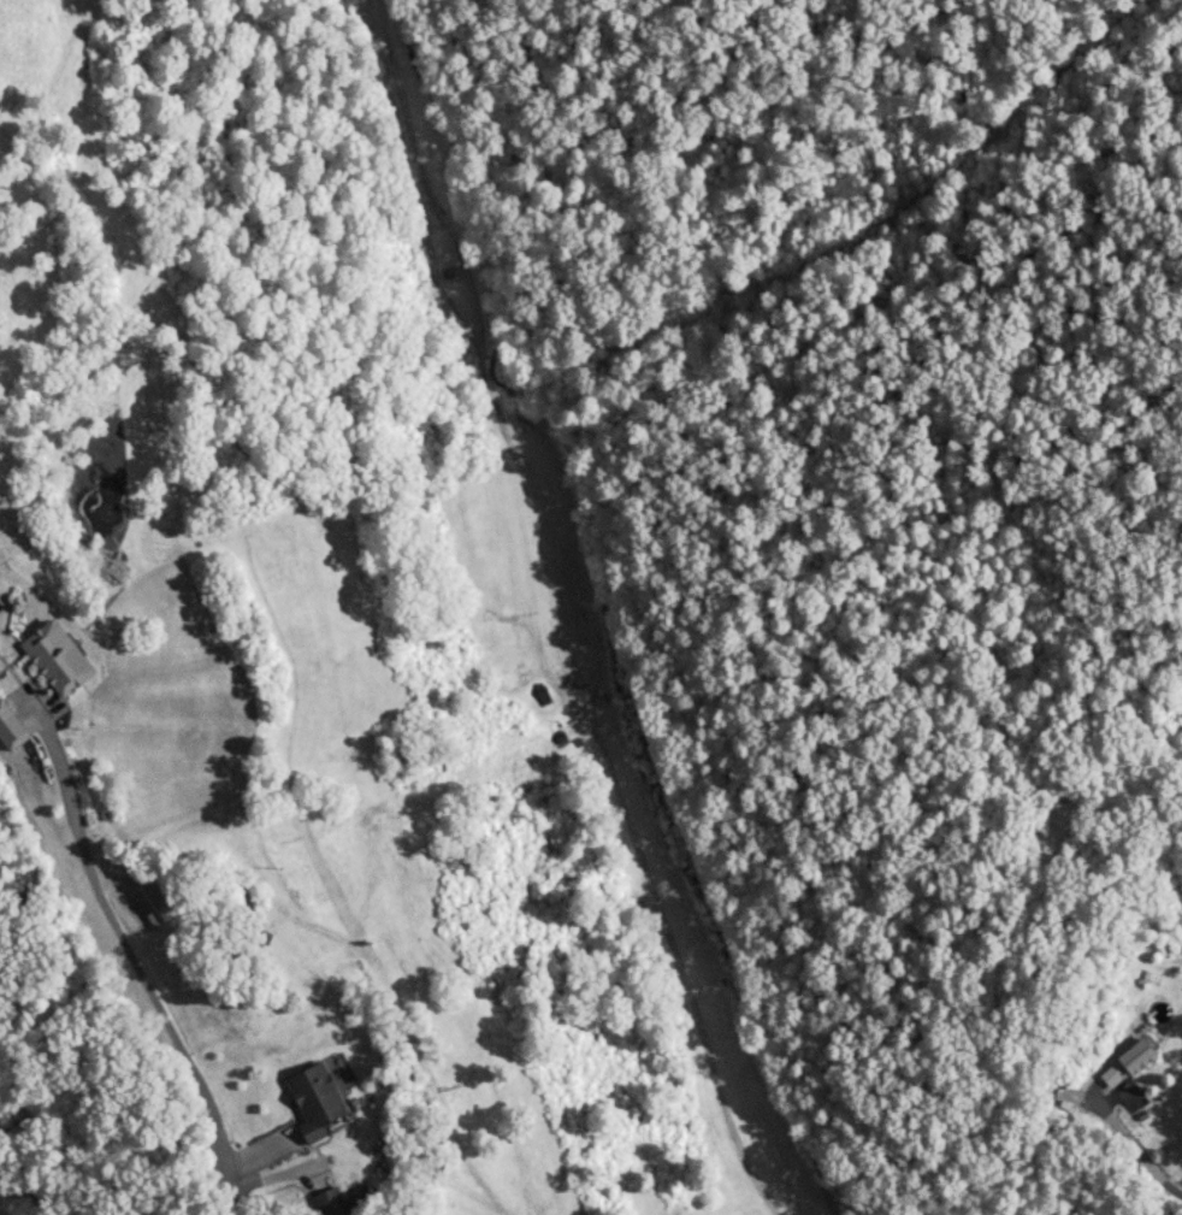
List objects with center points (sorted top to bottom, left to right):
building: (54, 657)
building: (8, 731)
building: (148, 906)
building: (1133, 1058)
building: (312, 1101)
road: (1134, 1152)
building: (339, 1203)

